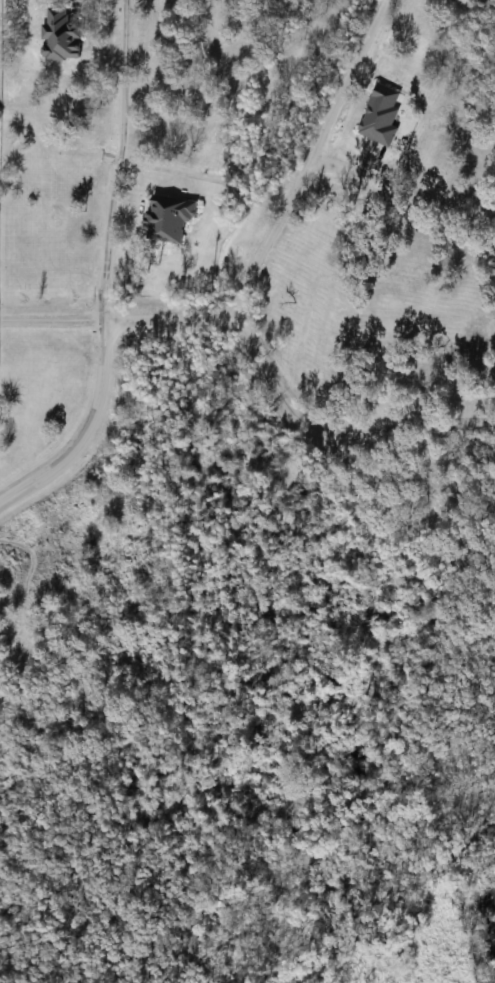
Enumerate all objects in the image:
road: (310, 160)
road: (166, 319)
road: (86, 430)

